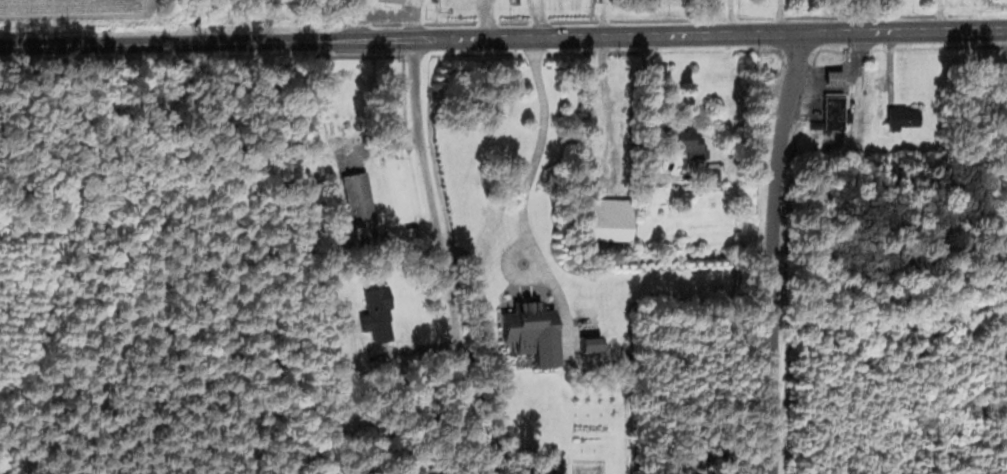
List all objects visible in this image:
road: (903, 32)
road: (399, 35)
building: (830, 110)
building: (900, 117)
building: (685, 141)
road: (522, 189)
building: (355, 198)
building: (605, 217)
road: (780, 254)
road: (451, 255)
building: (373, 313)
building: (499, 325)
building: (528, 332)

